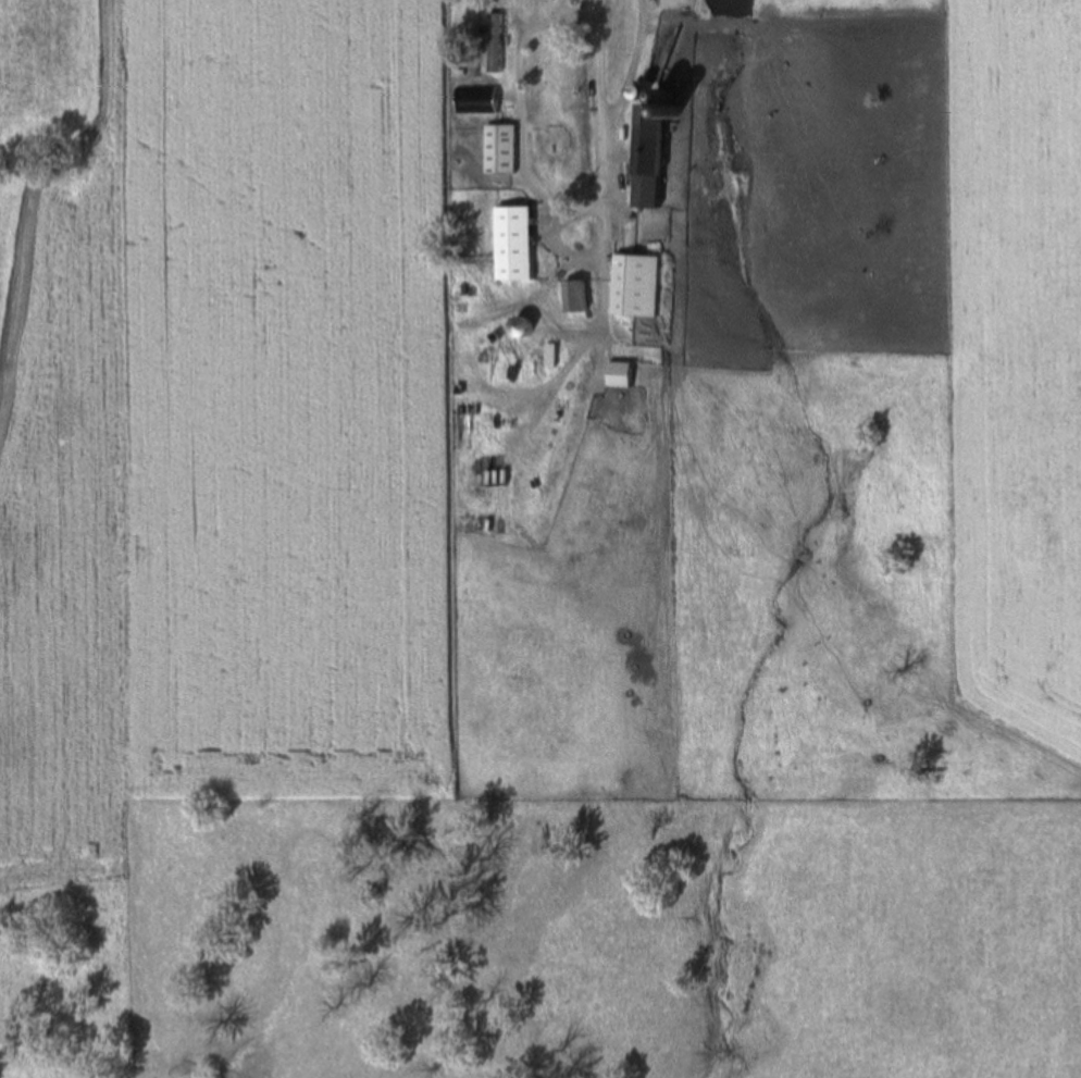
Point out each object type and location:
building: (498, 44)
building: (485, 100)
building: (508, 149)
building: (659, 156)
building: (522, 243)
building: (644, 285)
building: (583, 296)
building: (628, 374)

